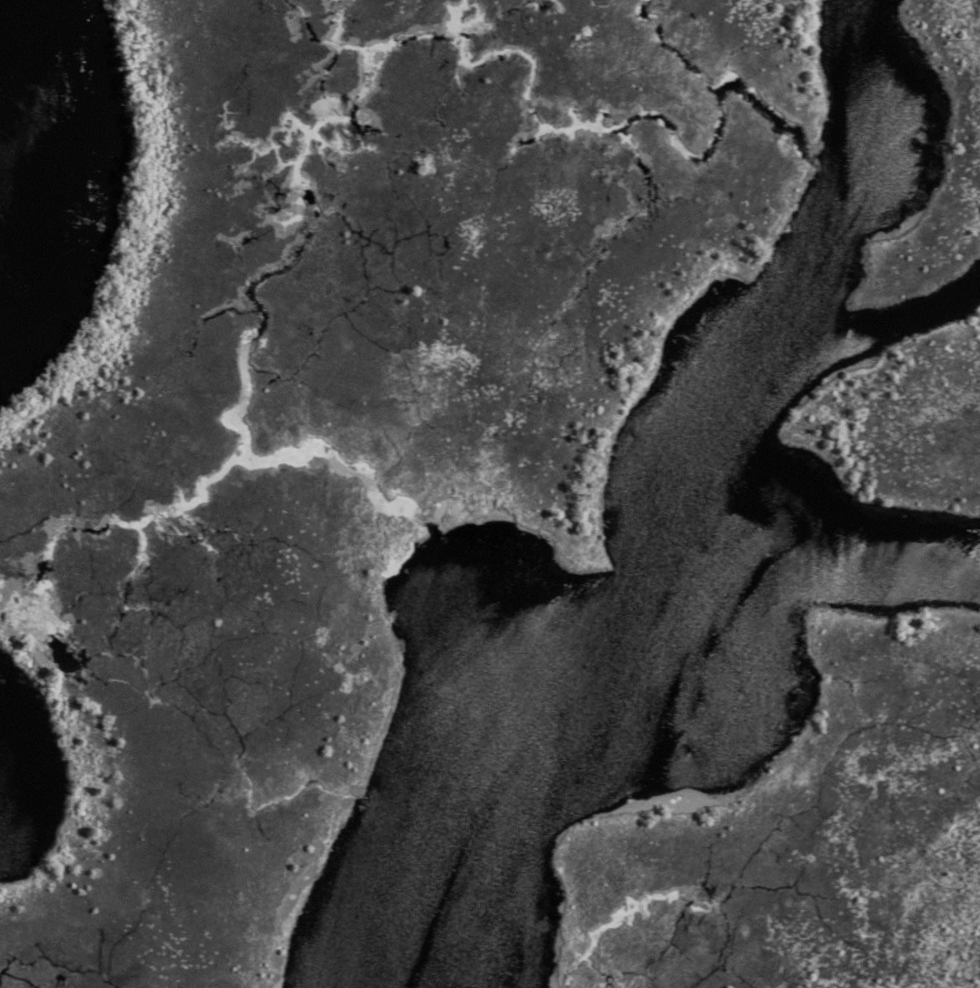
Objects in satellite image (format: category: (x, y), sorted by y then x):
river: (14, 156)

